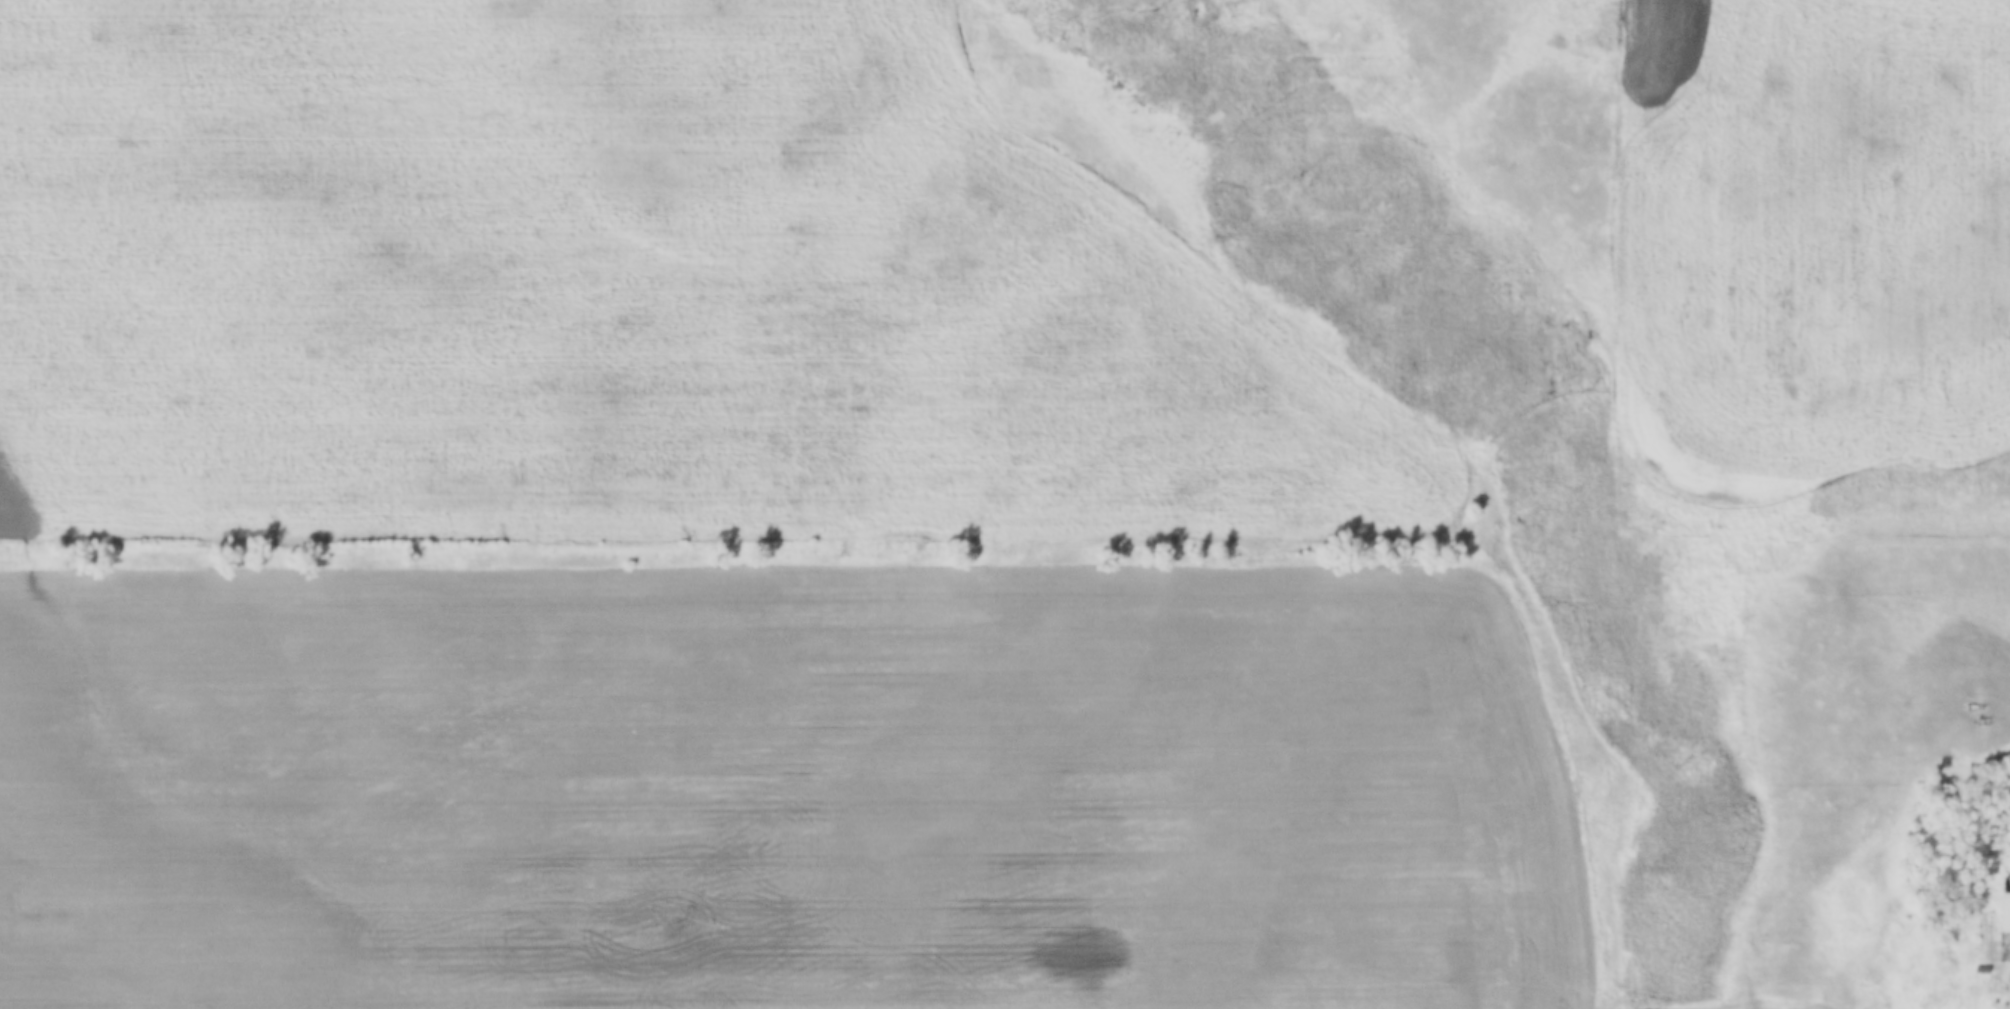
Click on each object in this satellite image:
building: (2002, 922)

